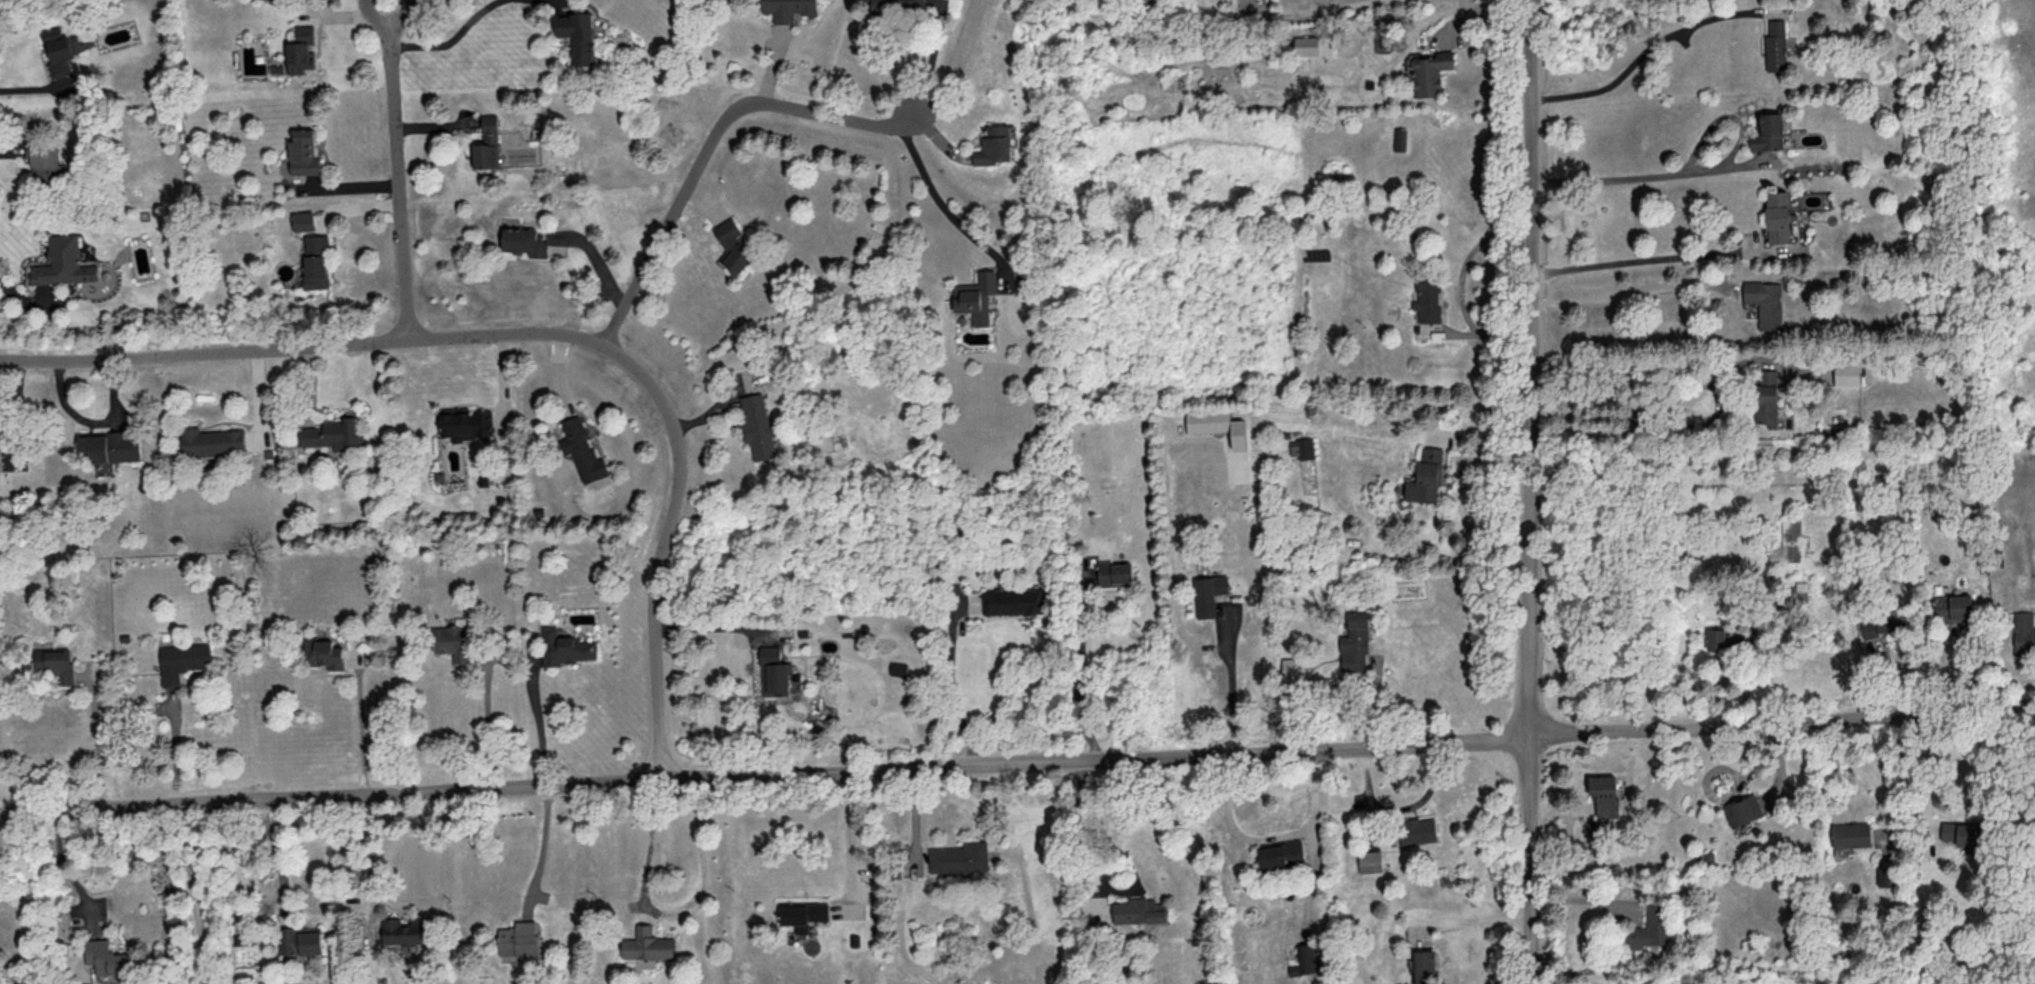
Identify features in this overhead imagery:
building: (894, 4)
building: (788, 9)
road: (1320, 11)
building: (577, 34)
road: (449, 39)
building: (1306, 44)
building: (1776, 45)
building: (301, 50)
building: (59, 51)
road: (1639, 52)
road: (931, 59)
building: (1429, 71)
road: (24, 87)
building: (1769, 132)
building: (1399, 138)
building: (487, 143)
building: (994, 144)
road: (708, 146)
building: (303, 152)
building: (44, 159)
road: (396, 169)
road: (1638, 177)
road: (939, 202)
building: (1777, 216)
building: (304, 220)
building: (524, 240)
building: (733, 245)
road: (1653, 258)
building: (316, 260)
building: (63, 262)
road: (1461, 284)
road: (1630, 292)
building: (976, 296)
building: (1428, 298)
building: (1765, 302)
road: (534, 331)
building: (1847, 373)
building: (1766, 396)
road: (1663, 401)
road: (1489, 415)
building: (466, 422)
road: (1687, 423)
building: (758, 425)
building: (1217, 425)
building: (332, 434)
building: (212, 441)
building: (111, 445)
building: (1302, 447)
building: (582, 450)
building: (0, 459)
building: (1426, 476)
road: (1533, 491)
building: (1790, 539)
building: (1114, 572)
building: (1799, 590)
building: (1208, 593)
building: (1011, 600)
building: (1952, 606)
building: (1884, 622)
road: (718, 623)
building: (2024, 632)
building: (1716, 638)
building: (451, 639)
building: (1355, 642)
building: (565, 647)
building: (325, 652)
building: (182, 660)
building: (55, 662)
building: (1293, 668)
building: (774, 672)
road: (1079, 678)
road: (1233, 688)
road: (952, 692)
road: (539, 725)
road: (488, 728)
road: (361, 729)
road: (96, 741)
road: (175, 748)
road: (1017, 763)
road: (1923, 763)
road: (1898, 771)
road: (1734, 789)
building: (1605, 794)
road: (1398, 807)
building: (1743, 809)
road: (1089, 826)
building: (1418, 829)
building: (1959, 832)
building: (1851, 833)
road: (1270, 837)
road: (849, 838)
park: (2018, 838)
road: (541, 840)
building: (1281, 853)
building: (960, 857)
building: (1370, 860)
road: (368, 865)
road: (66, 867)
building: (1885, 875)
road: (195, 893)
road: (671, 908)
building: (1139, 910)
building: (803, 913)
road: (1475, 919)
building: (1650, 926)
building: (404, 930)
building: (243, 933)
building: (518, 938)
building: (300, 939)
building: (647, 944)
building: (105, 956)
building: (1305, 958)
building: (1424, 966)
park: (1847, 966)

